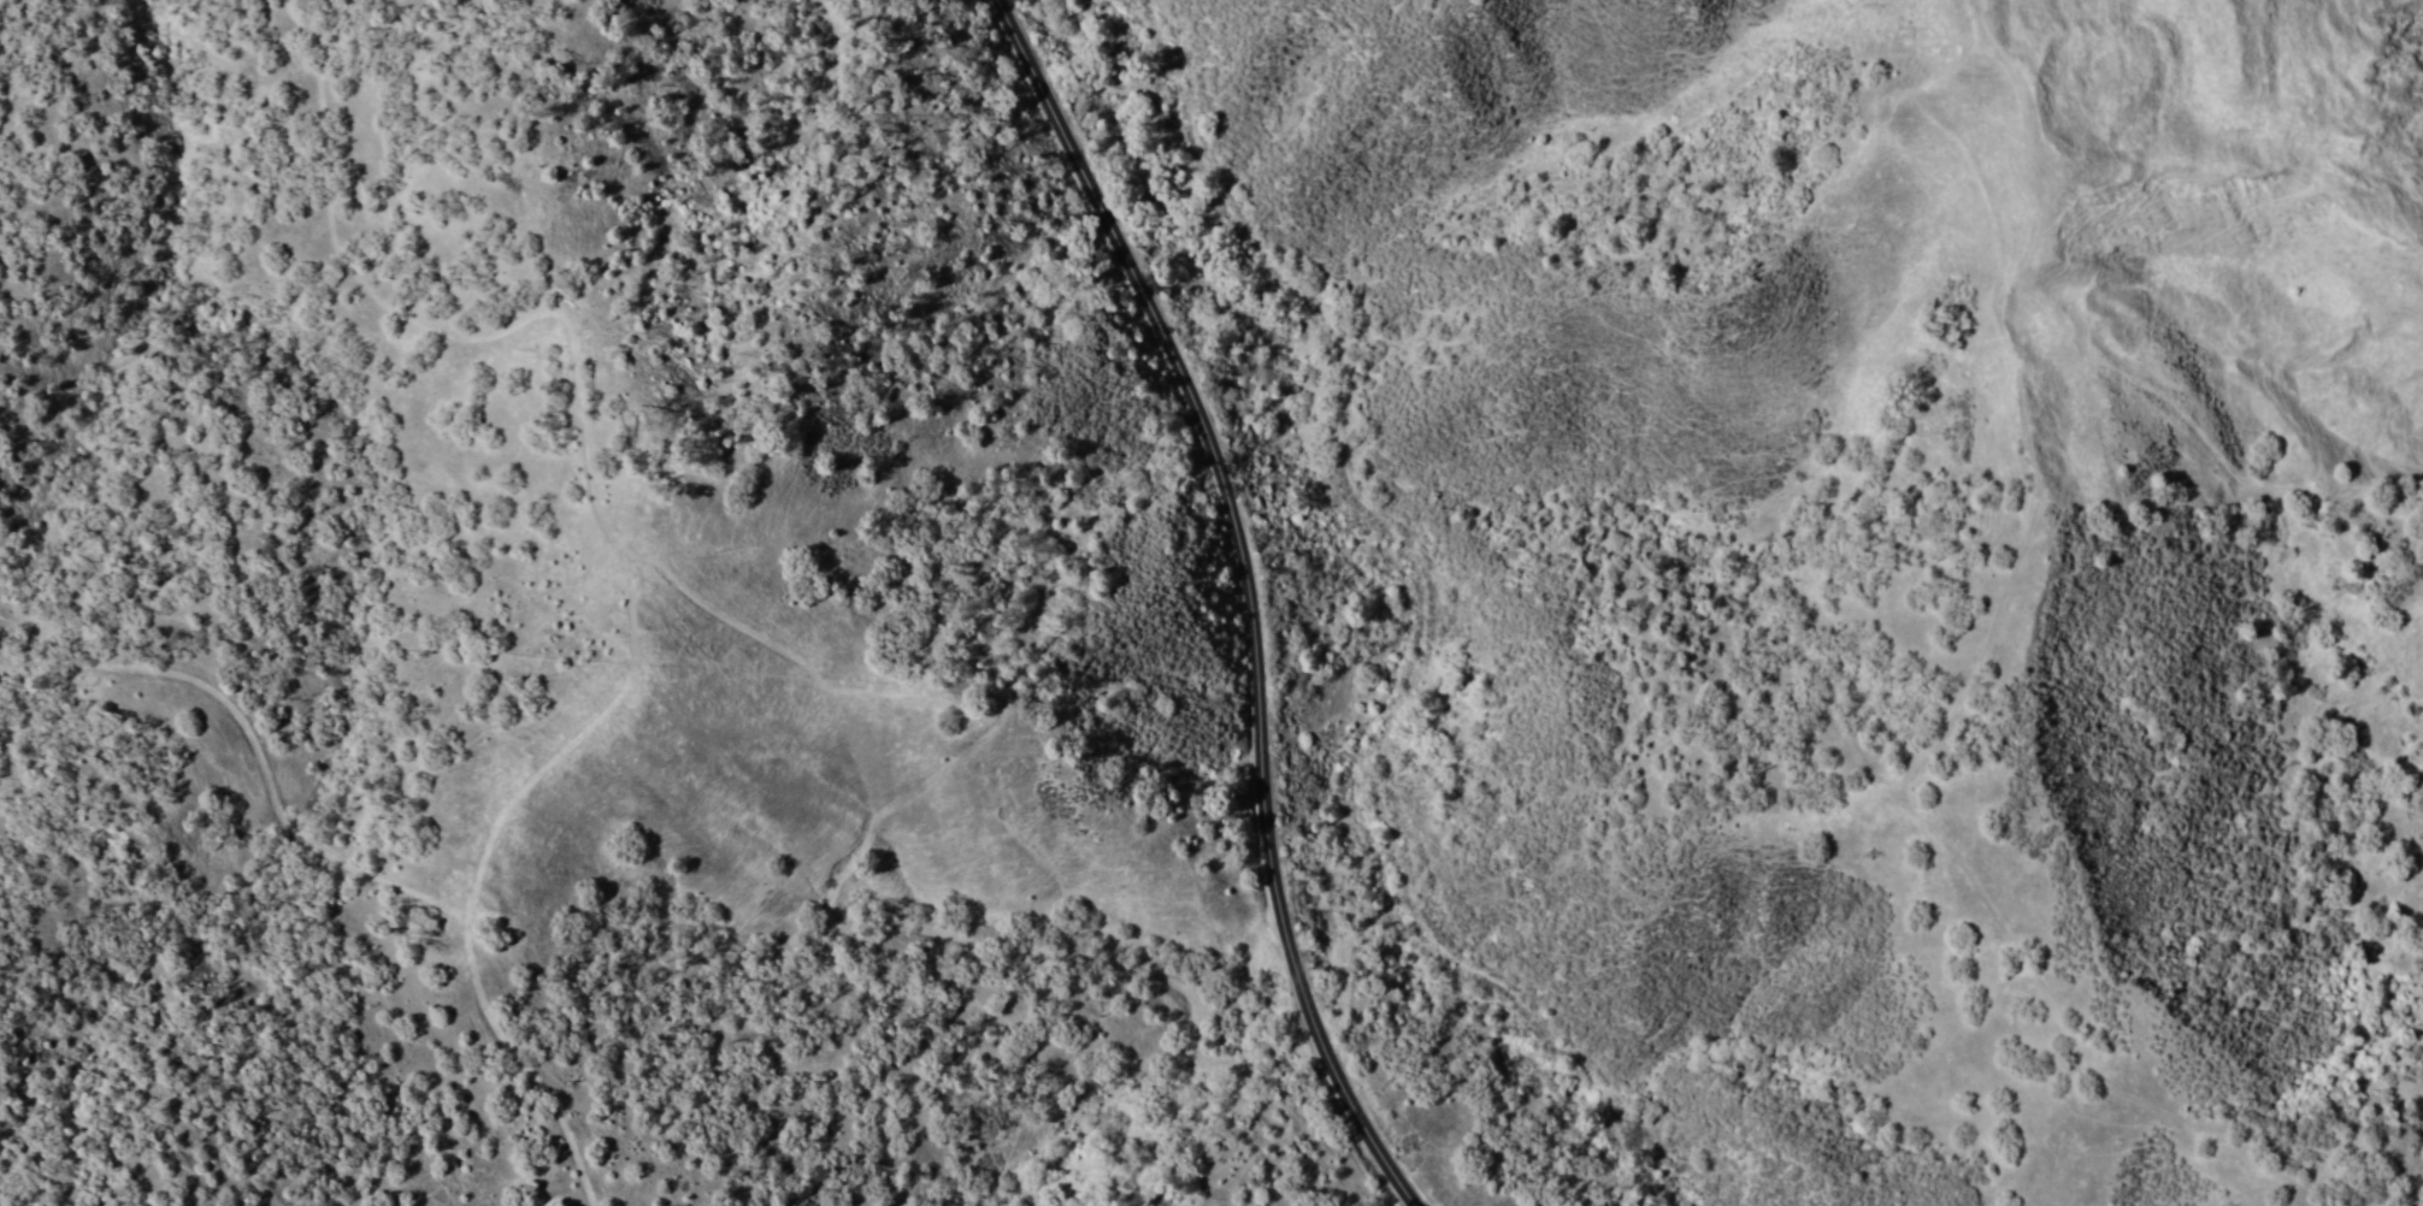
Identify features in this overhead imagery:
road: (1238, 591)

